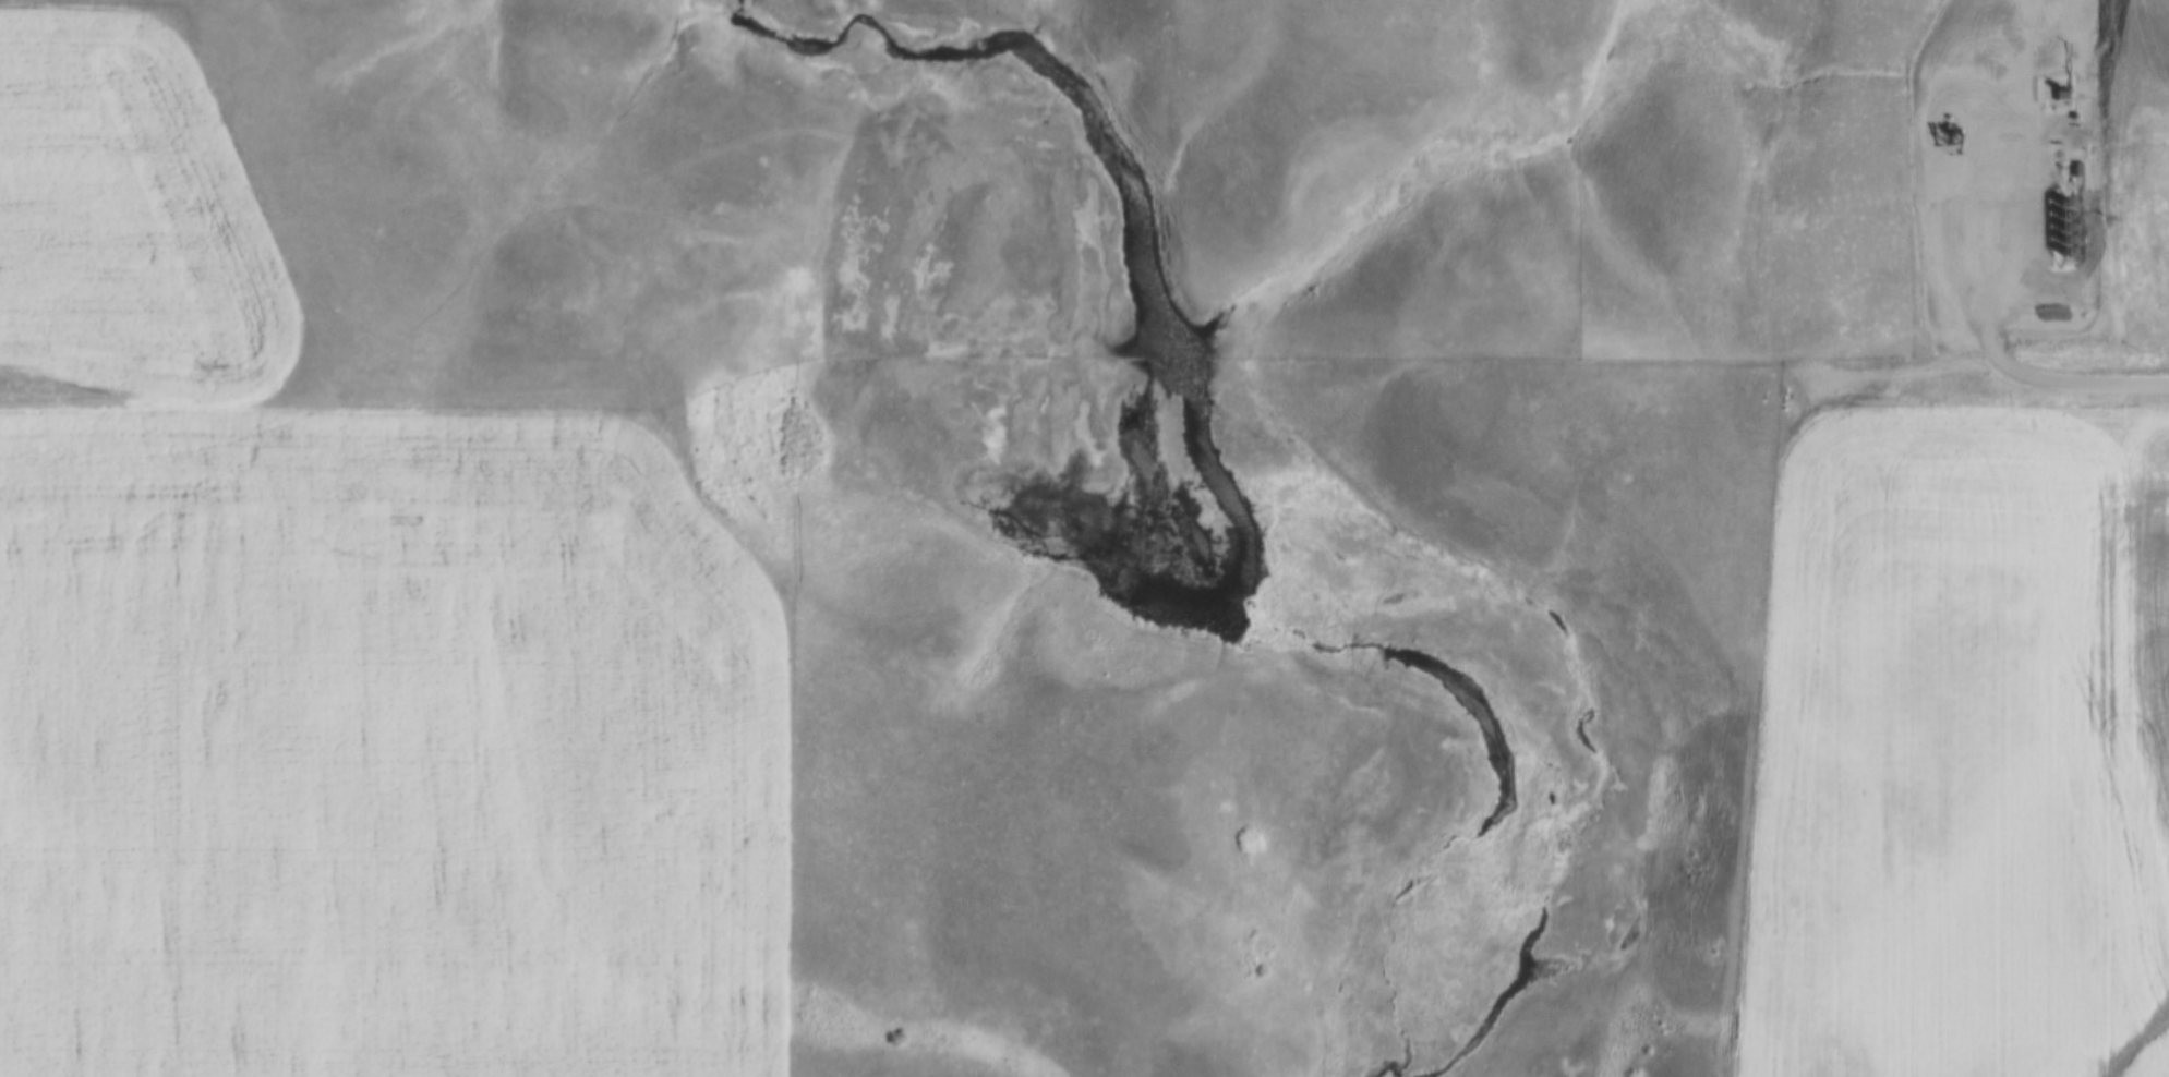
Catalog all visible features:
building: (2059, 189)
storage tank: (2059, 189)
building: (2060, 203)
storage tank: (2060, 203)
building: (2060, 215)
storage tank: (2060, 215)
building: (2060, 227)
storage tank: (2060, 227)
building: (2060, 239)
storage tank: (2060, 239)
road: (2092, 382)

